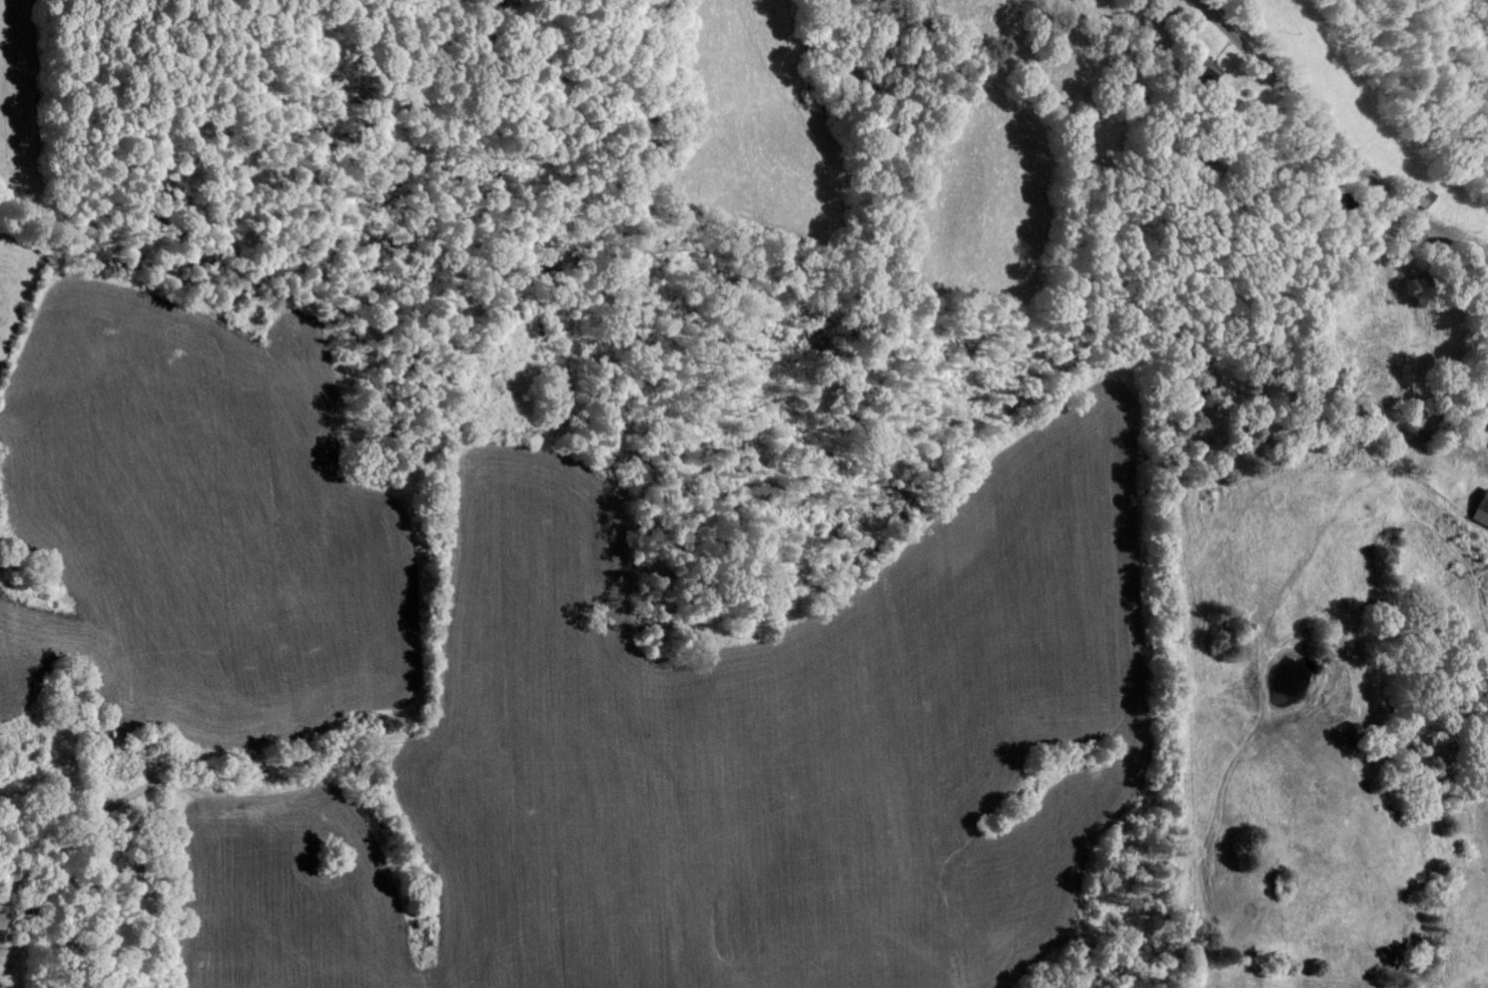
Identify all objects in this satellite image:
building: (1200, 73)
road: (1339, 146)
building: (1412, 200)
building: (1486, 418)
building: (1480, 513)

